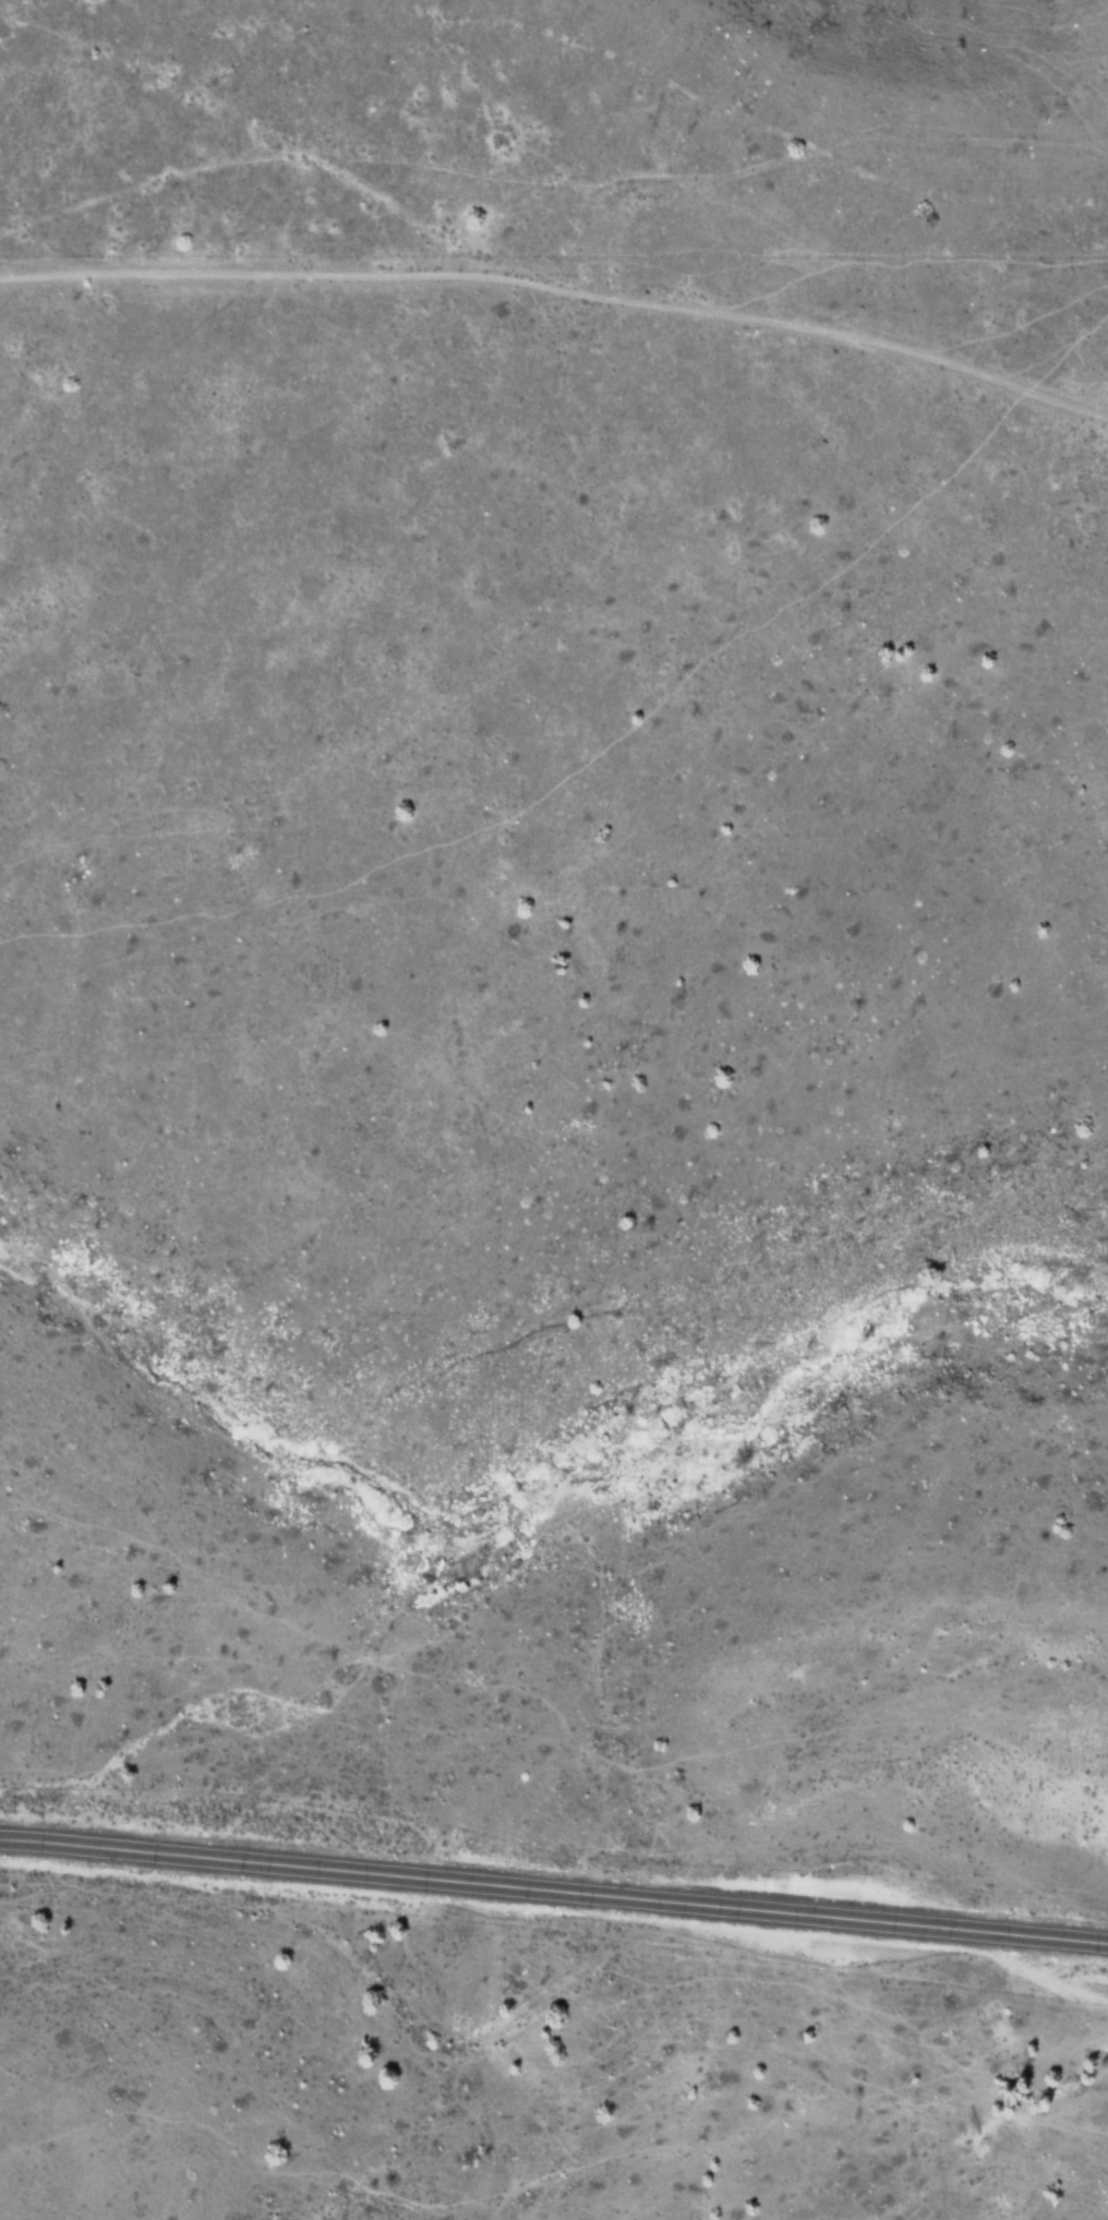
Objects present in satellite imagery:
road: (554, 1889)

